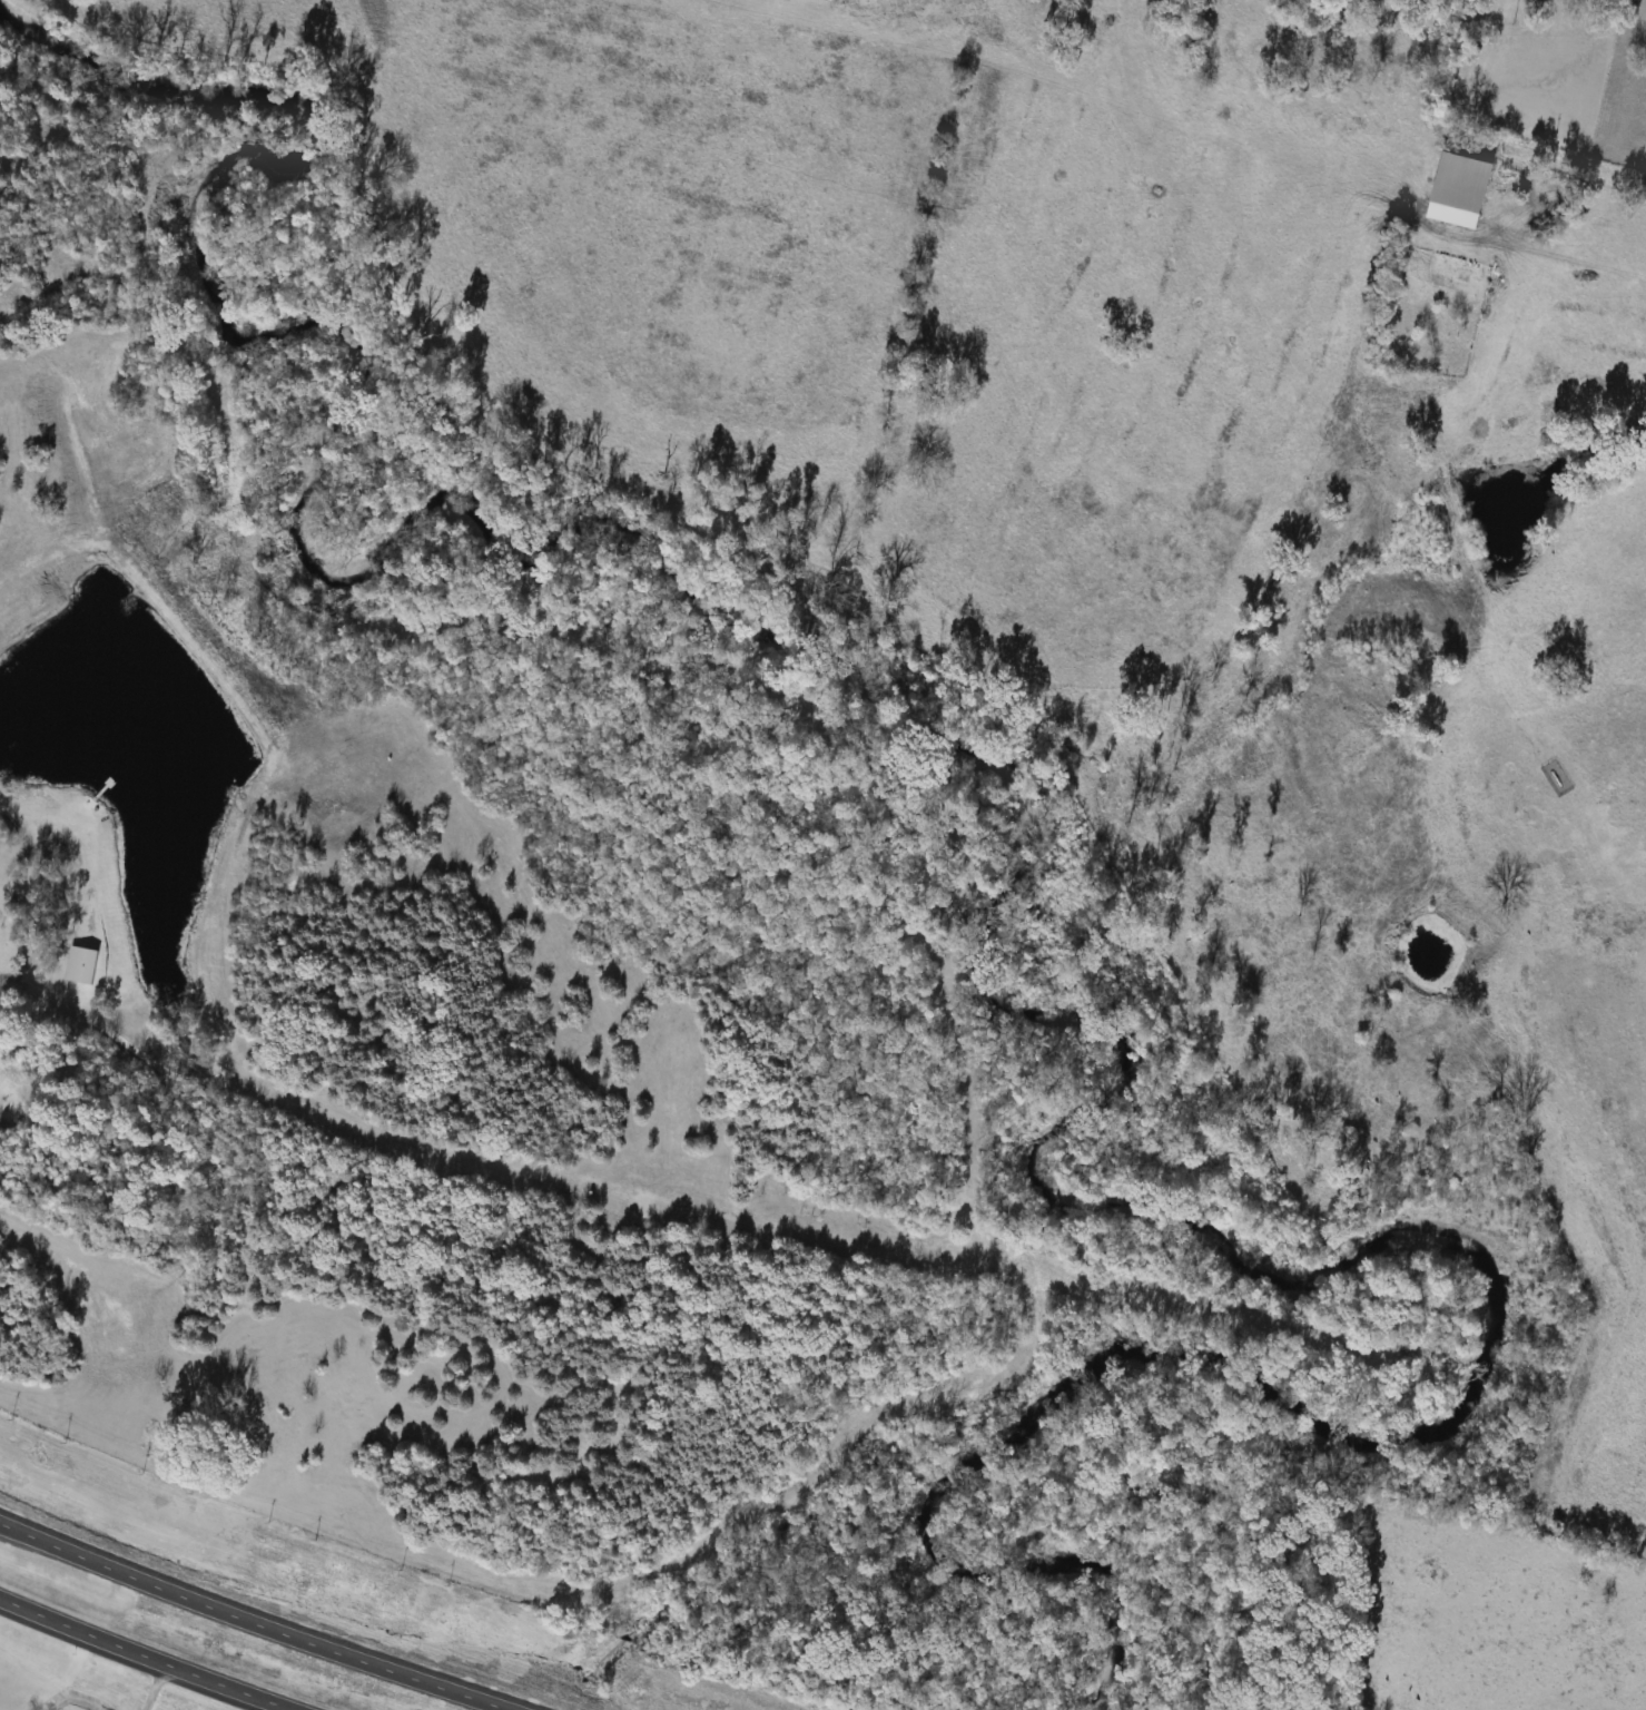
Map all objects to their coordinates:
building: (1457, 181)
building: (78, 965)
road: (249, 1620)
road: (147, 1659)
road: (149, 1687)

